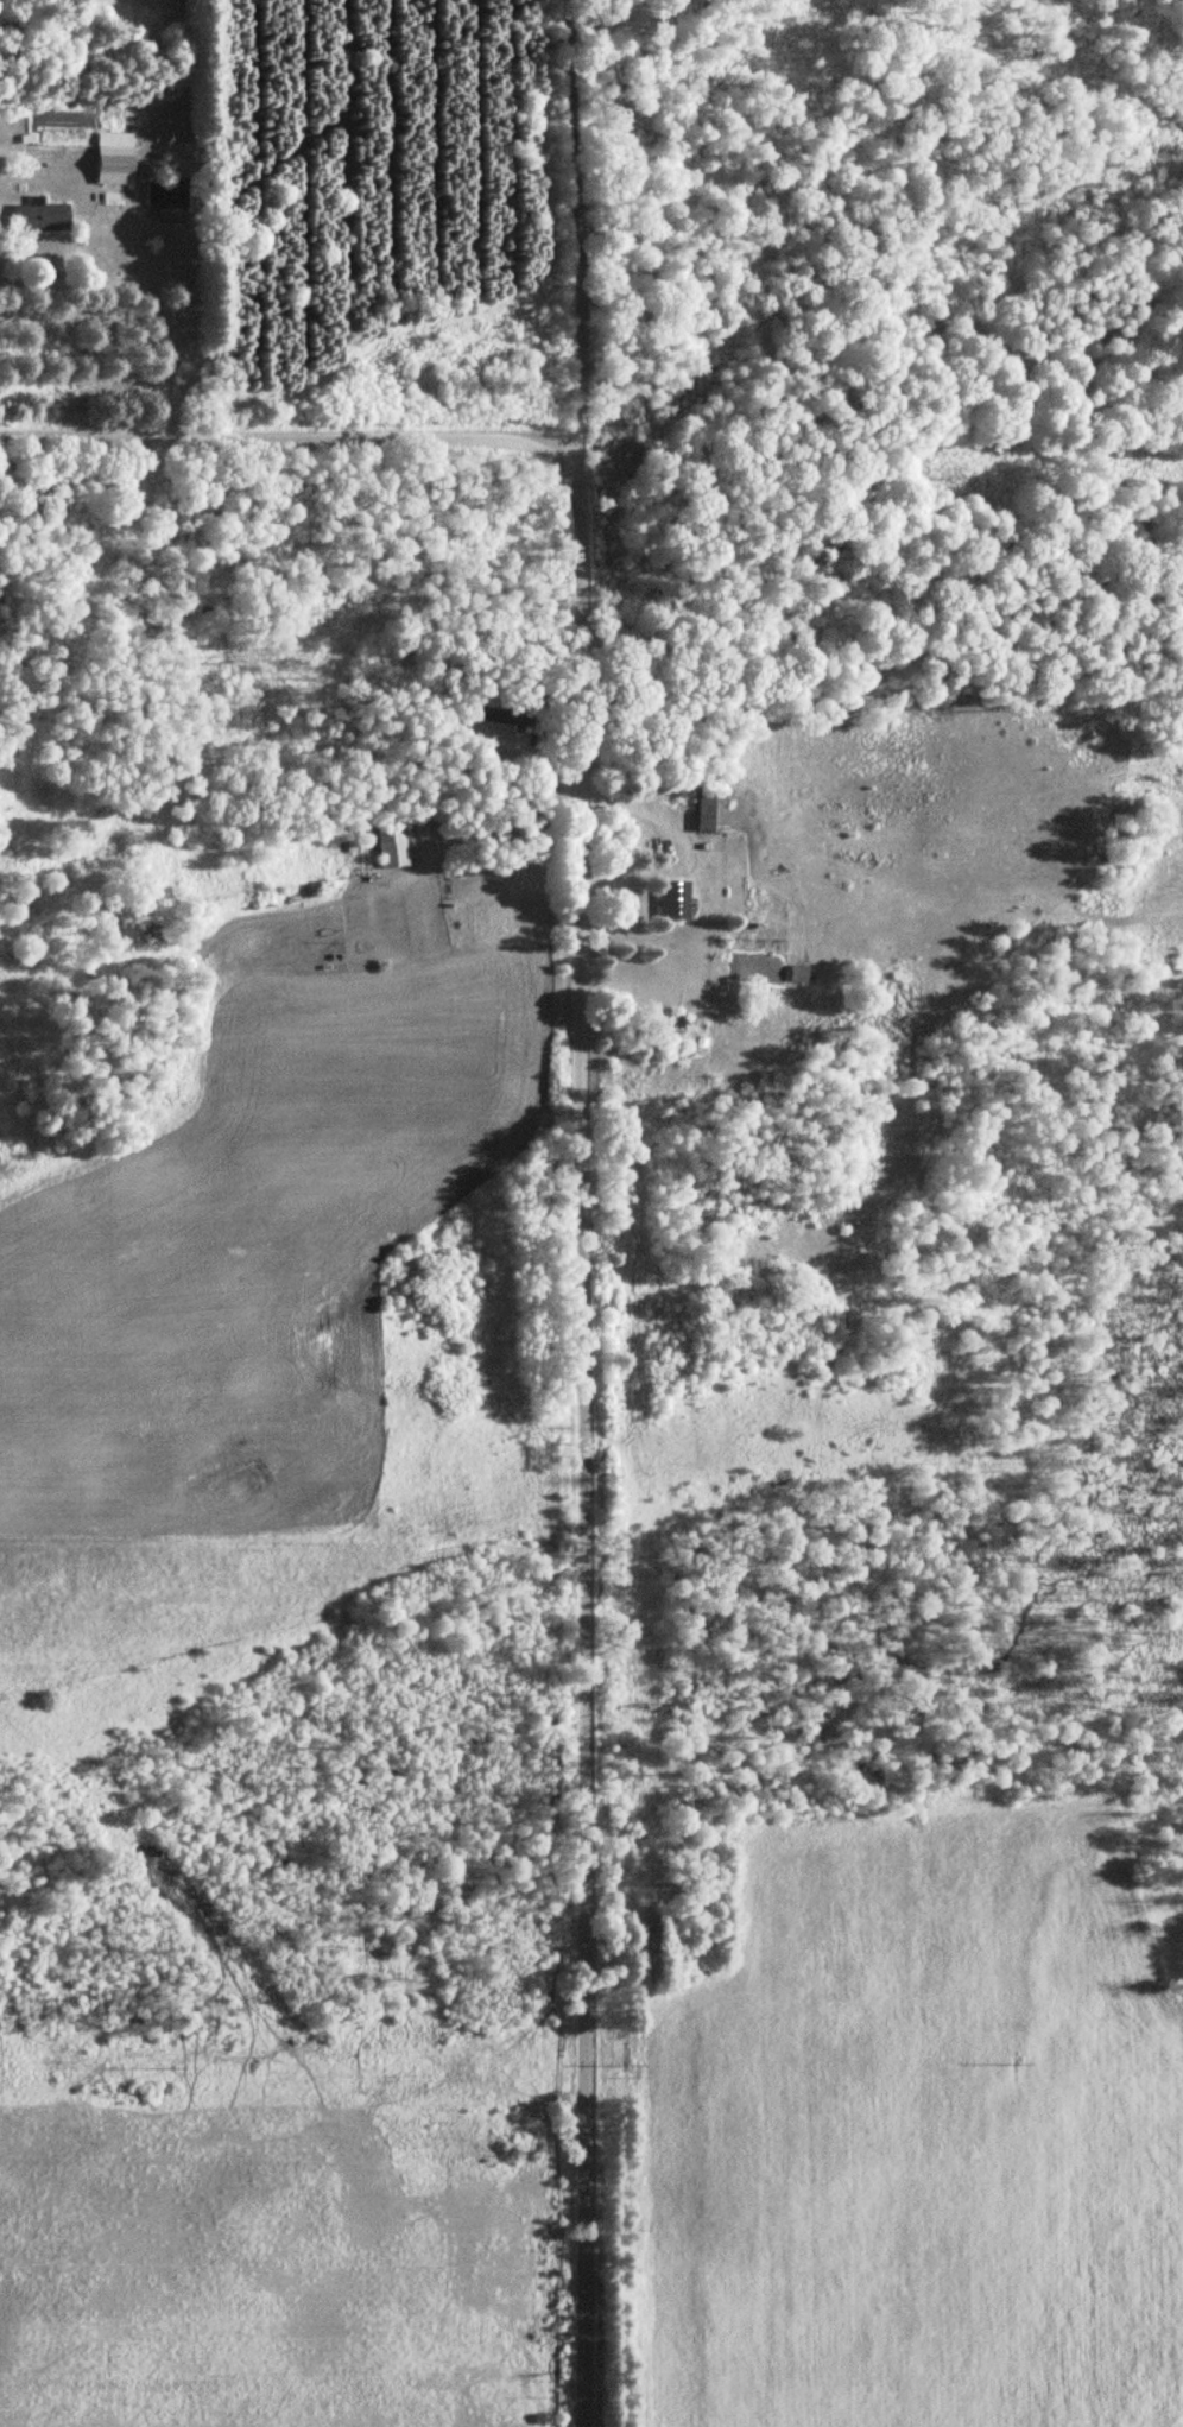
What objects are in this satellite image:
building: (108, 158)
building: (36, 217)
road: (574, 233)
road: (128, 245)
road: (291, 438)
building: (706, 813)
building: (387, 846)
building: (670, 895)
building: (795, 974)
road: (583, 1446)

